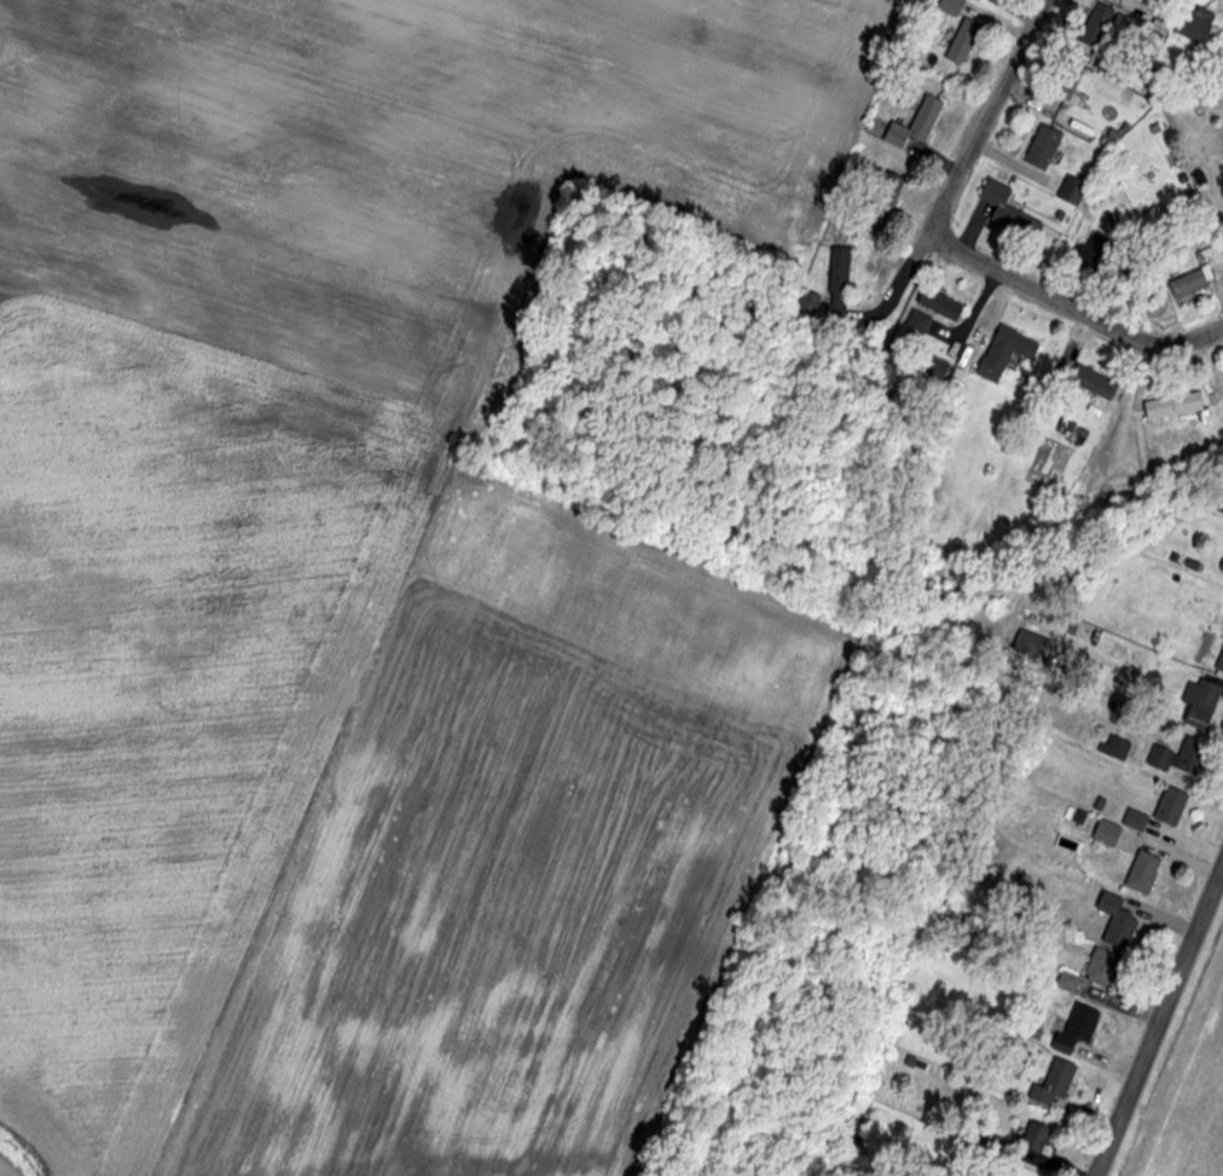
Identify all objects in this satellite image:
building: (954, 6)
building: (1192, 24)
building: (1094, 36)
building: (962, 41)
building: (1063, 85)
road: (987, 110)
building: (916, 123)
building: (1042, 146)
building: (1068, 190)
building: (885, 195)
building: (1009, 214)
building: (1094, 250)
road: (899, 277)
building: (837, 284)
building: (1188, 286)
building: (938, 305)
road: (1071, 307)
building: (1004, 352)
building: (1092, 383)
building: (1172, 406)
building: (1030, 647)
building: (1219, 664)
building: (1200, 703)
building: (1179, 758)
building: (1170, 807)
building: (1141, 874)
building: (1109, 942)
road: (1158, 1015)
building: (1077, 1027)
building: (1053, 1083)

